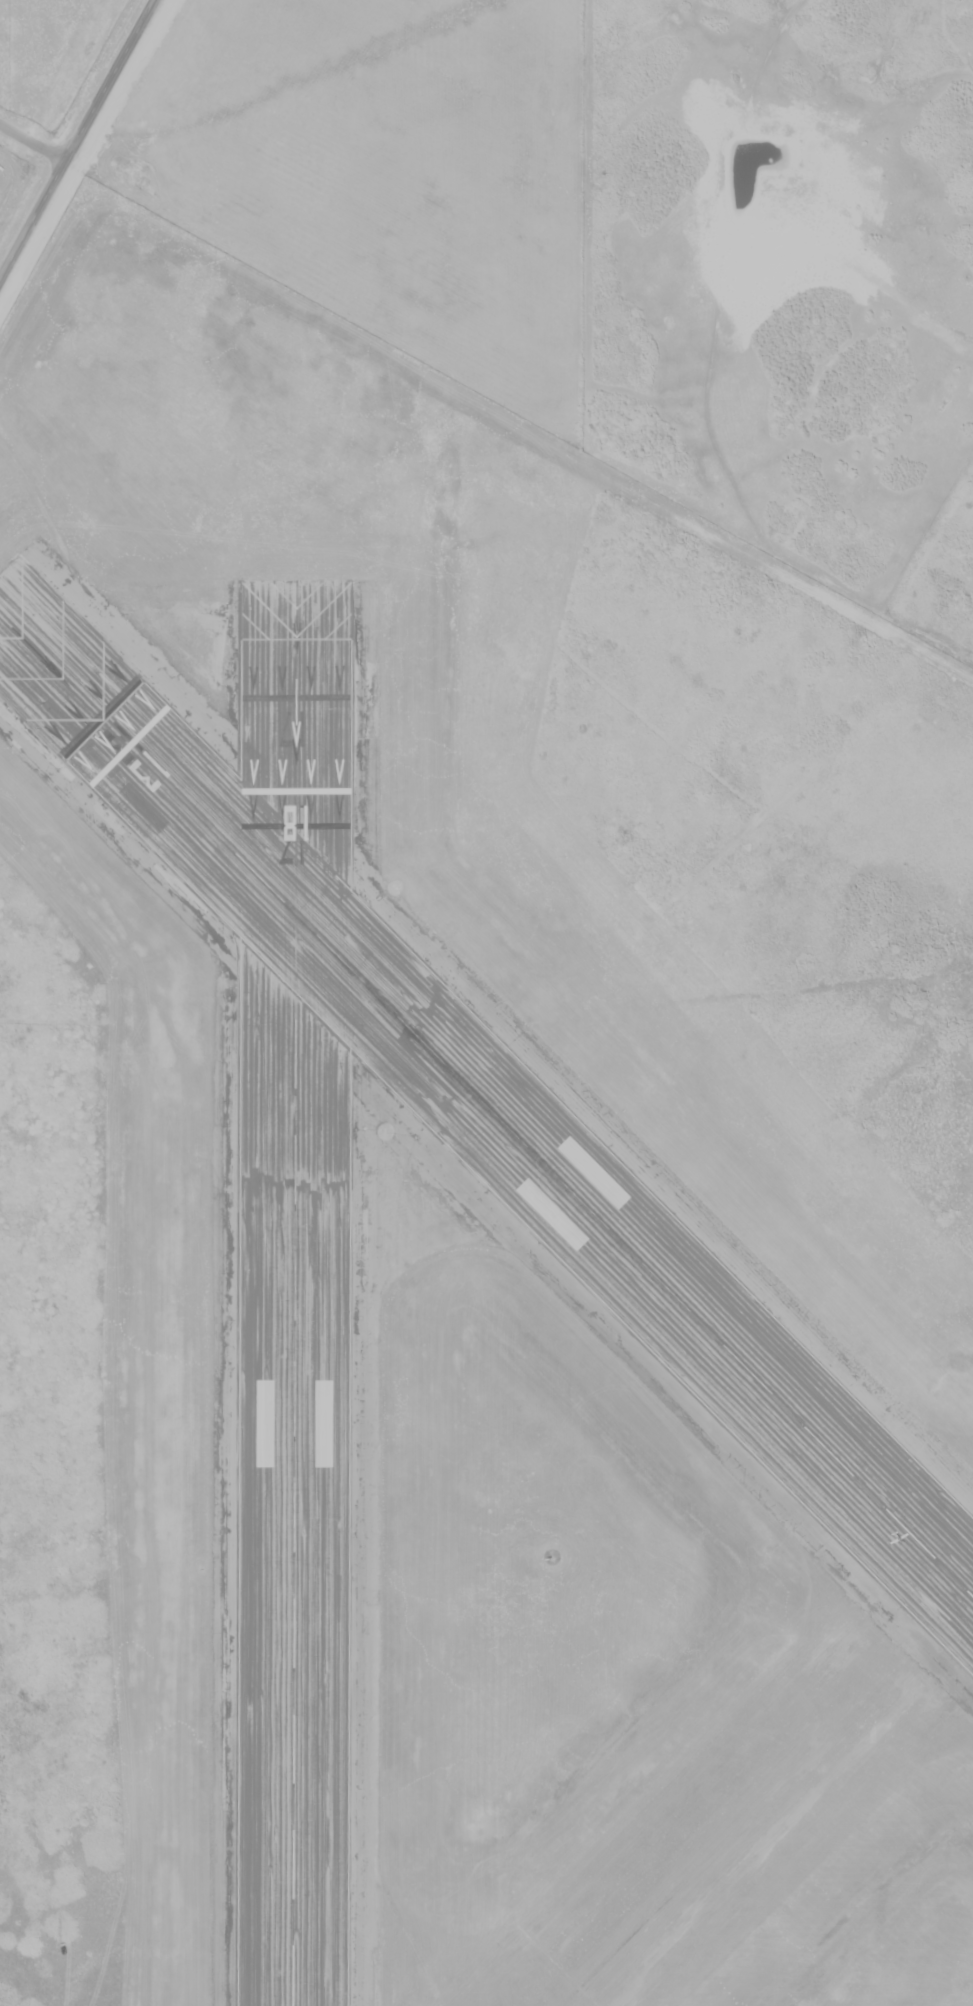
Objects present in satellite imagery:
road: (78, 141)
road: (31, 153)
airport runway: (552, 1171)
airport: (461, 1199)
airport runway: (296, 1397)

